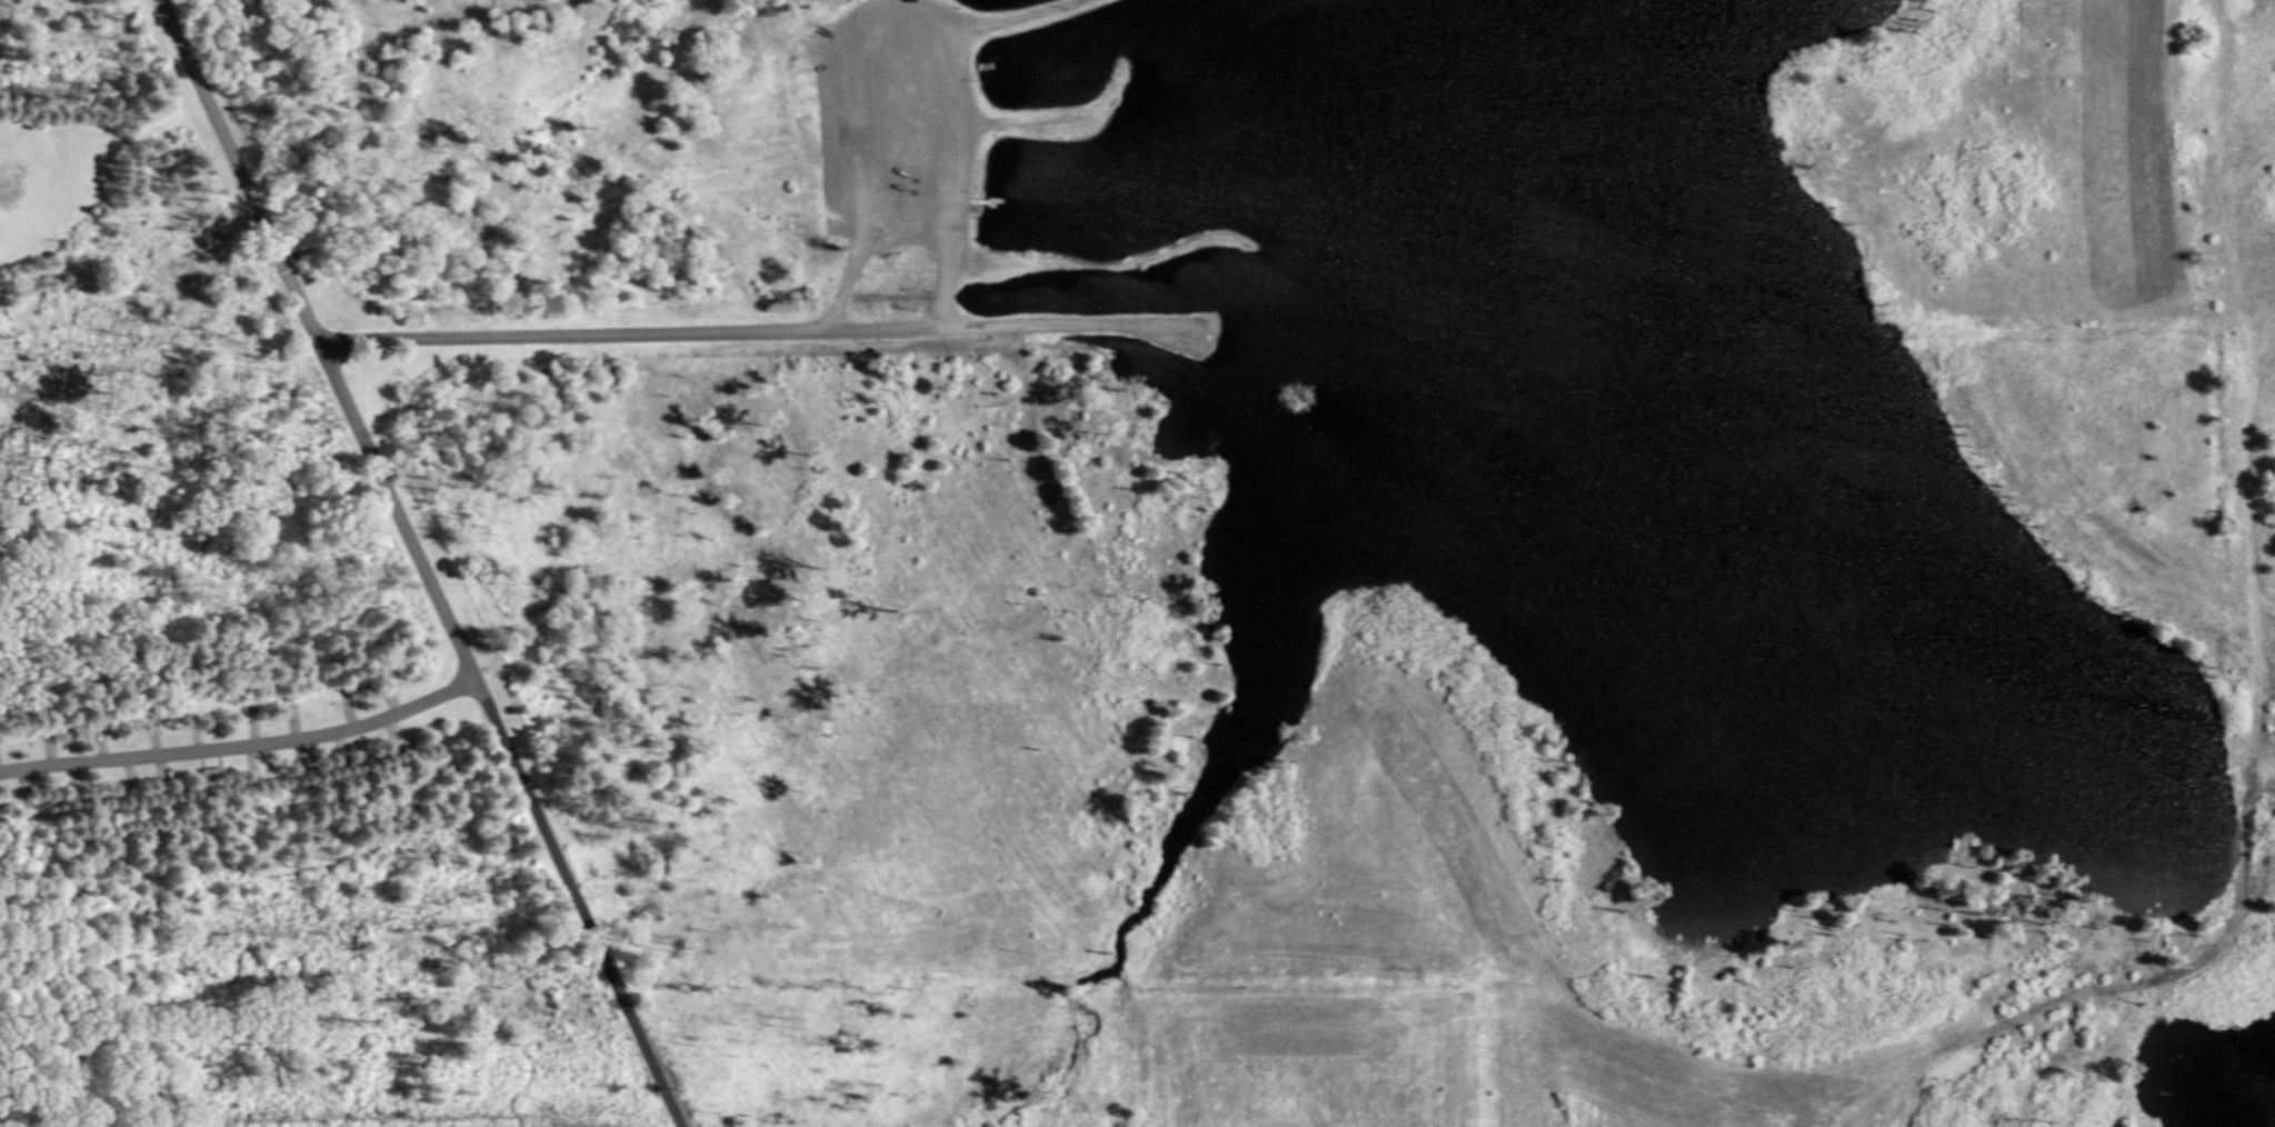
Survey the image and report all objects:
road: (998, 19)
road: (894, 32)
parking lot: (896, 123)
road: (157, 124)
pier: (987, 200)
road: (2175, 300)
road: (628, 331)
road: (2264, 337)
road: (315, 341)
road: (2263, 360)
road: (2147, 553)
road: (2266, 615)
road: (2257, 692)
road: (241, 745)
road: (577, 904)

